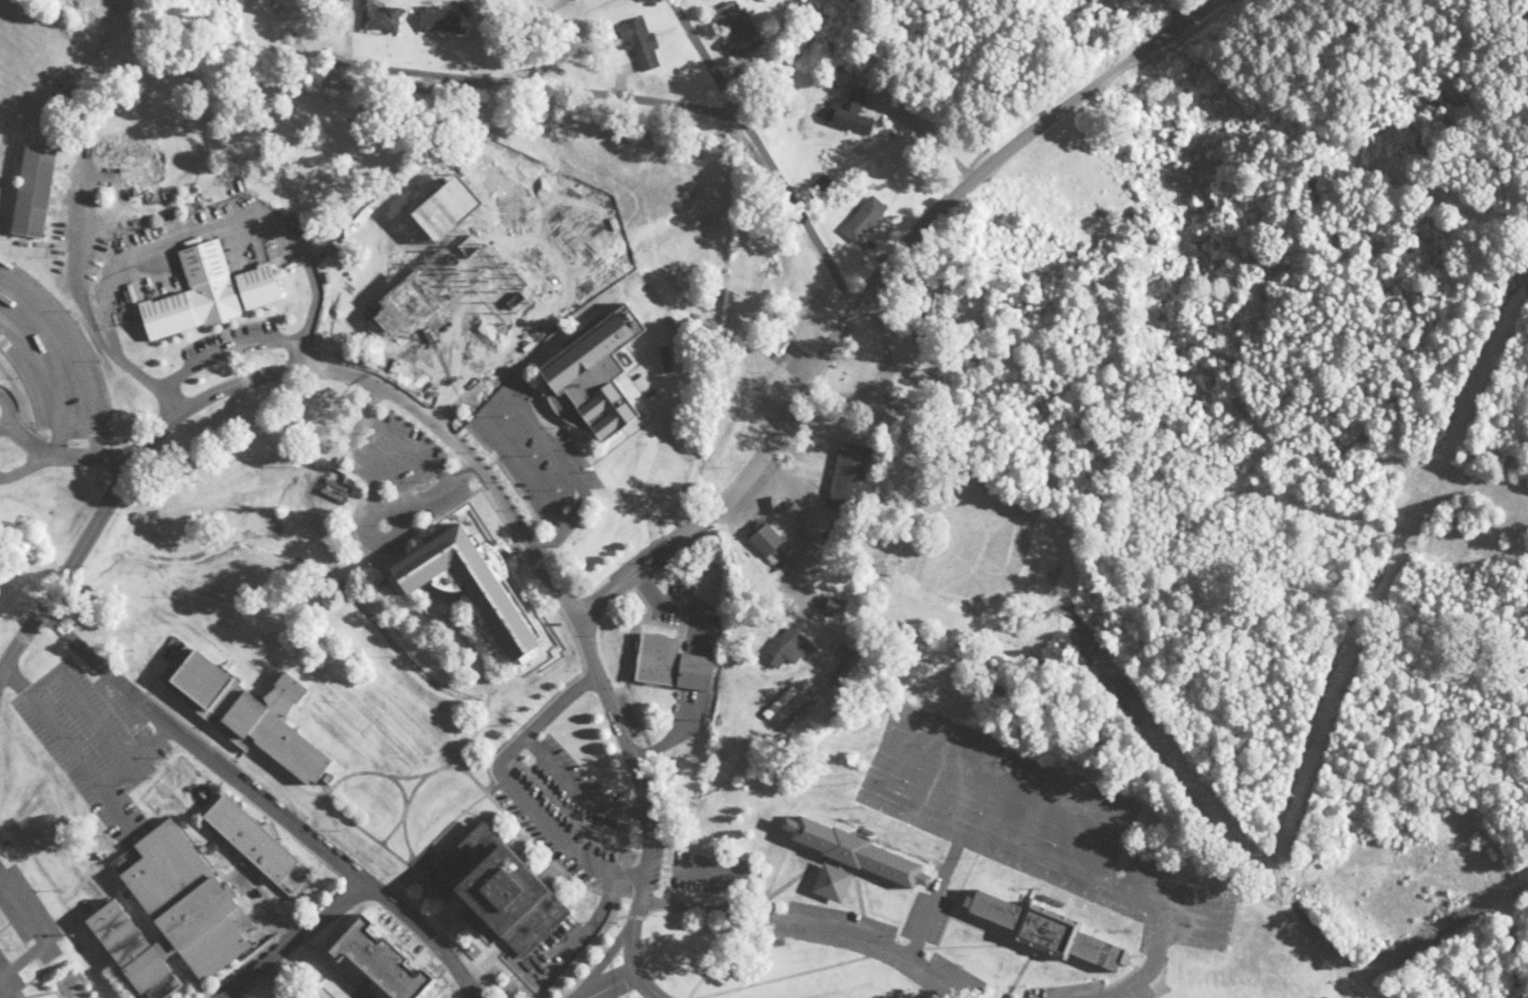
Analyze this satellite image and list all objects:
building: (376, 17)
building: (441, 18)
building: (733, 25)
building: (638, 43)
road: (701, 57)
road: (518, 85)
building: (853, 115)
building: (32, 190)
road: (796, 207)
building: (862, 217)
road: (183, 234)
road: (863, 290)
building: (208, 292)
building: (778, 338)
parking lot: (227, 340)
road: (219, 342)
road: (70, 353)
parking lot: (49, 358)
building: (594, 372)
road: (269, 373)
road: (43, 381)
building: (917, 388)
road: (5, 408)
road: (538, 434)
road: (406, 442)
parking lot: (526, 446)
parking lot: (387, 453)
road: (58, 454)
road: (515, 459)
road: (22, 465)
road: (383, 471)
building: (849, 474)
road: (362, 532)
building: (765, 537)
building: (471, 582)
building: (836, 602)
building: (787, 645)
building: (658, 655)
building: (696, 669)
road: (42, 678)
building: (245, 707)
road: (893, 738)
parking lot: (91, 739)
road: (111, 776)
road: (263, 799)
parking lot: (1019, 806)
road: (643, 807)
building: (256, 840)
building: (854, 856)
building: (504, 888)
road: (935, 889)
road: (353, 906)
parking lot: (26, 912)
building: (171, 914)
road: (815, 925)
building: (1052, 928)
road: (44, 934)
road: (284, 939)
road: (250, 953)
building: (384, 960)
road: (1147, 964)
parking lot: (6, 977)
road: (280, 980)
road: (352, 985)
road: (435, 985)
road: (614, 985)
road: (3, 993)

